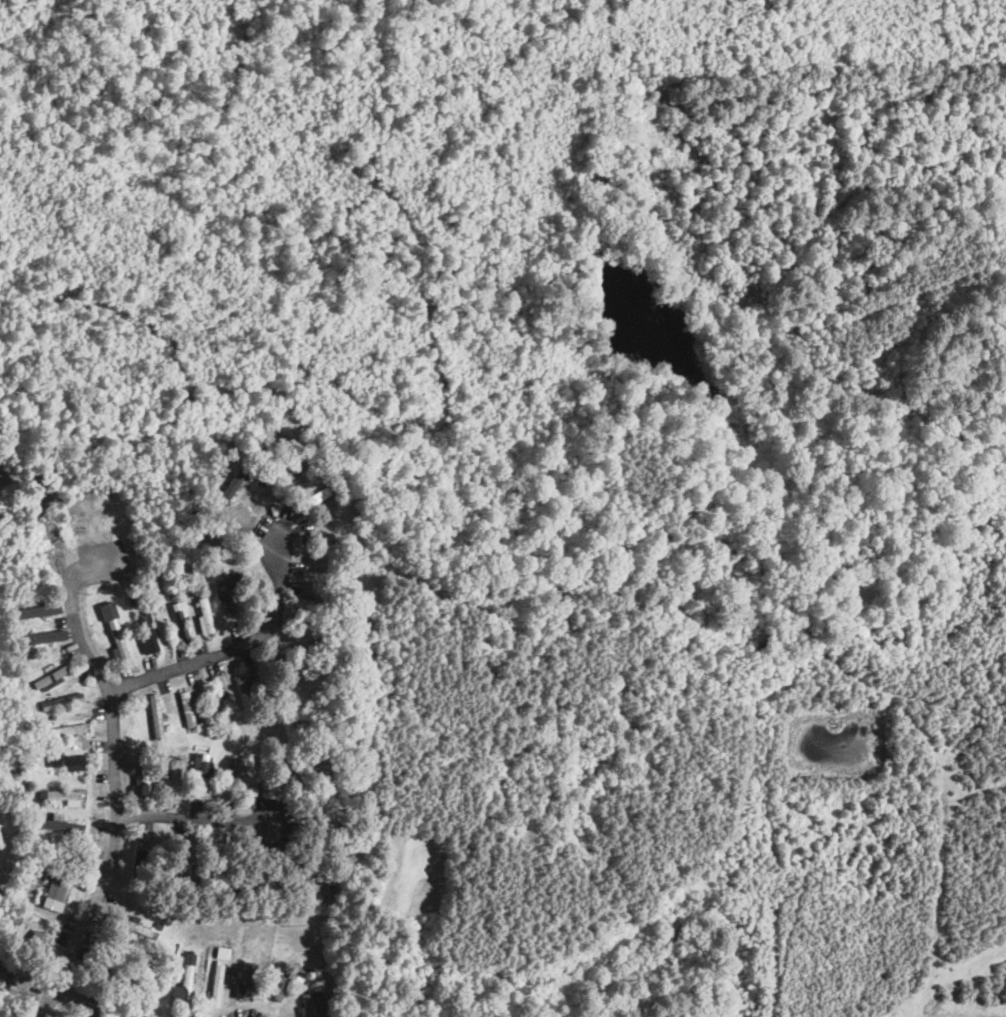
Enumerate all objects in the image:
building: (313, 497)
building: (226, 590)
building: (36, 610)
building: (206, 613)
building: (181, 619)
building: (115, 629)
building: (148, 629)
building: (42, 636)
road: (241, 643)
building: (50, 677)
building: (243, 688)
building: (62, 700)
building: (218, 701)
building: (187, 707)
building: (156, 716)
building: (65, 729)
building: (67, 759)
building: (201, 767)
building: (235, 772)
building: (173, 773)
building: (145, 780)
building: (65, 795)
road: (119, 806)
road: (191, 818)
building: (63, 824)
building: (307, 872)
building: (56, 891)
building: (326, 895)
building: (39, 937)
building: (4, 977)
building: (184, 980)
building: (218, 980)
building: (245, 982)
building: (314, 1004)
road: (93, 1008)

